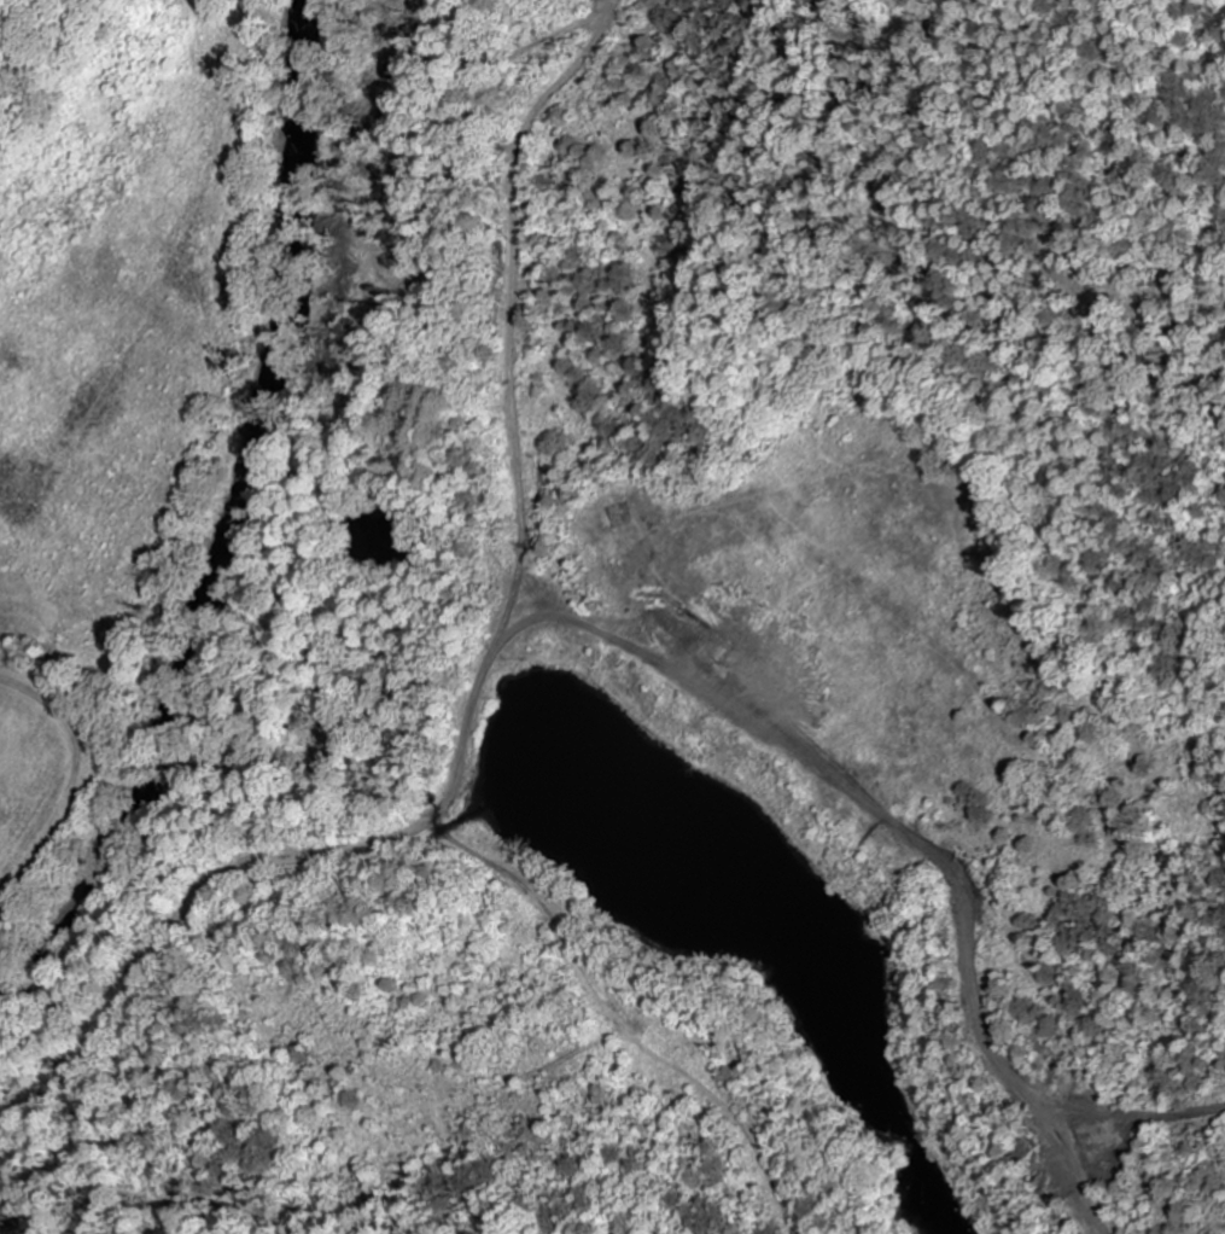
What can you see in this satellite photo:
road: (274, 866)

